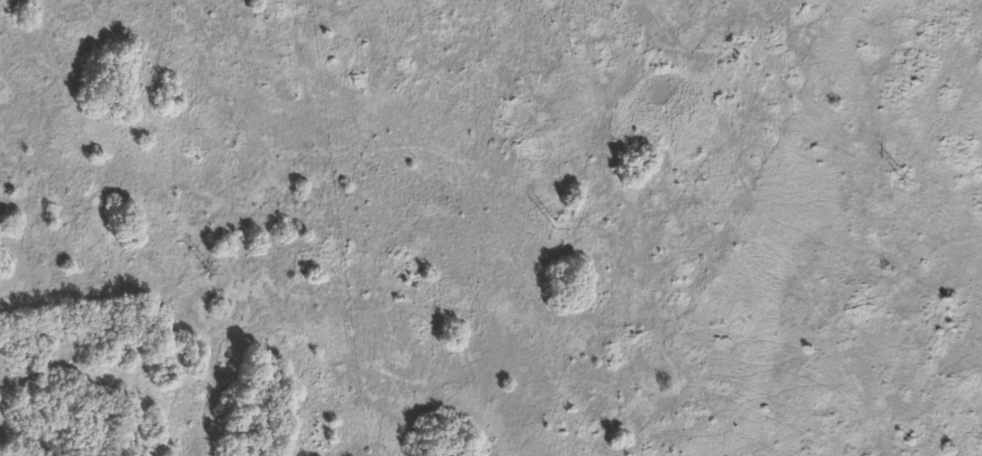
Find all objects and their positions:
power tower: (905, 179)
power tower: (555, 224)
power tower: (210, 269)

